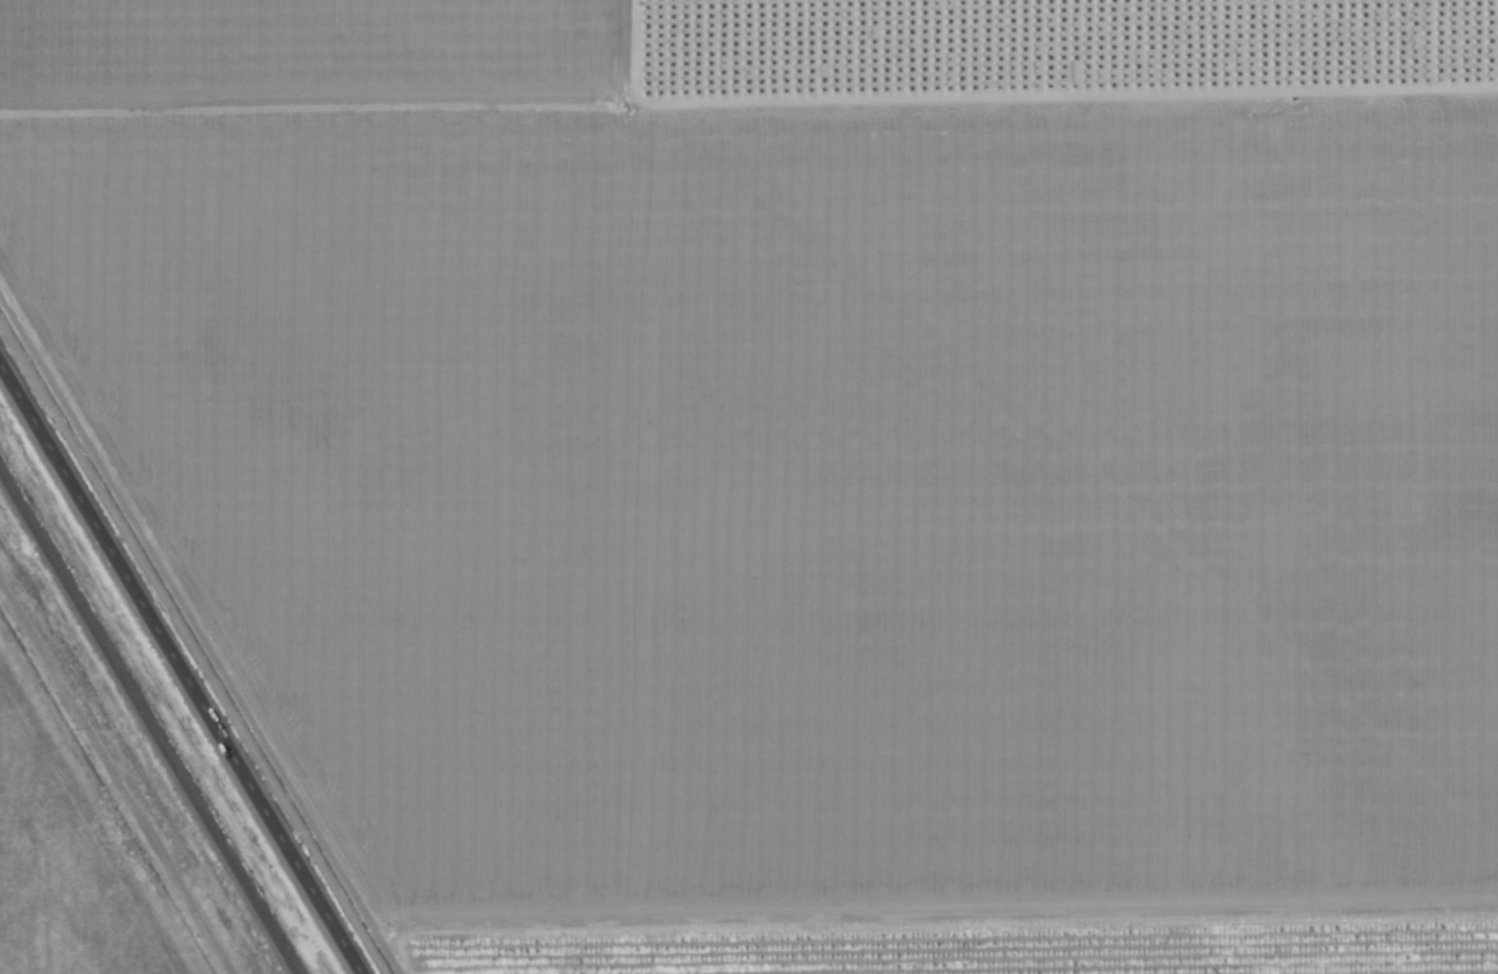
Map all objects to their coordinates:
road: (183, 664)
railway: (147, 725)
crop: (136, 742)
road: (122, 768)
park: (50, 886)

